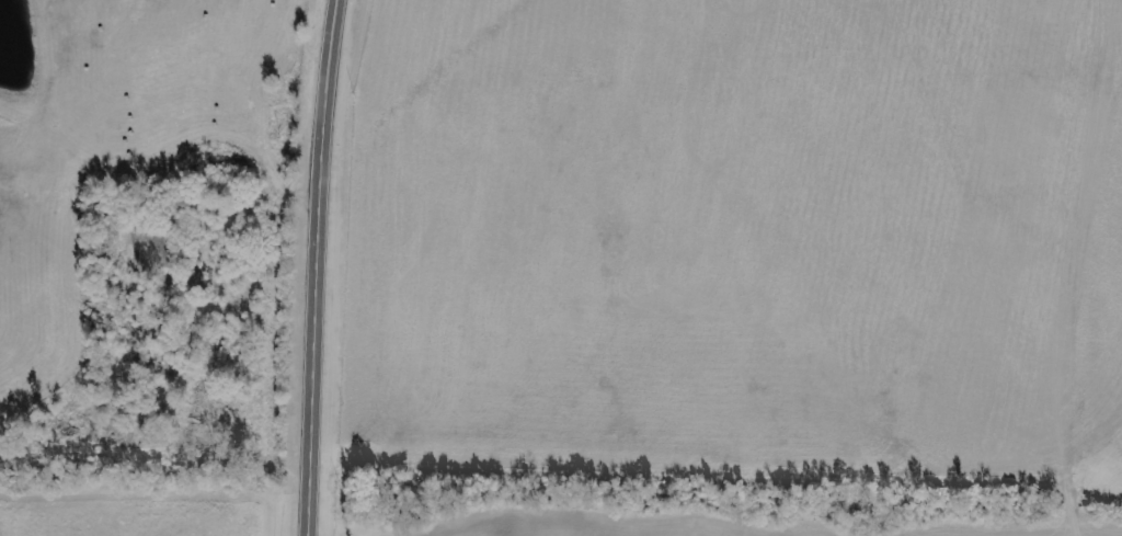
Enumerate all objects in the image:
road: (312, 267)

